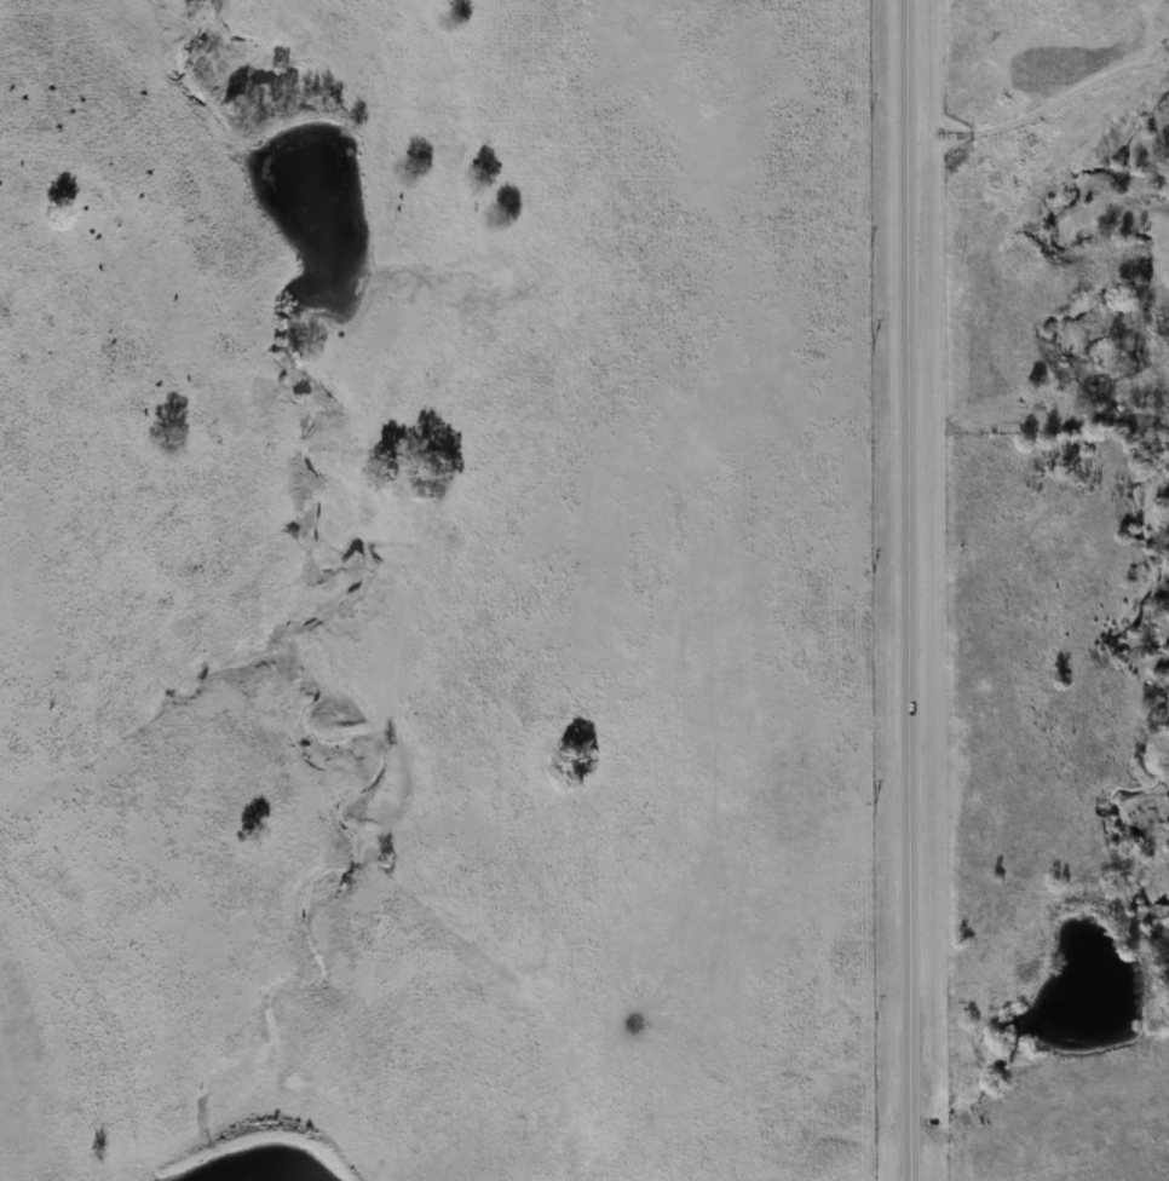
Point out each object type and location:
road: (898, 590)

